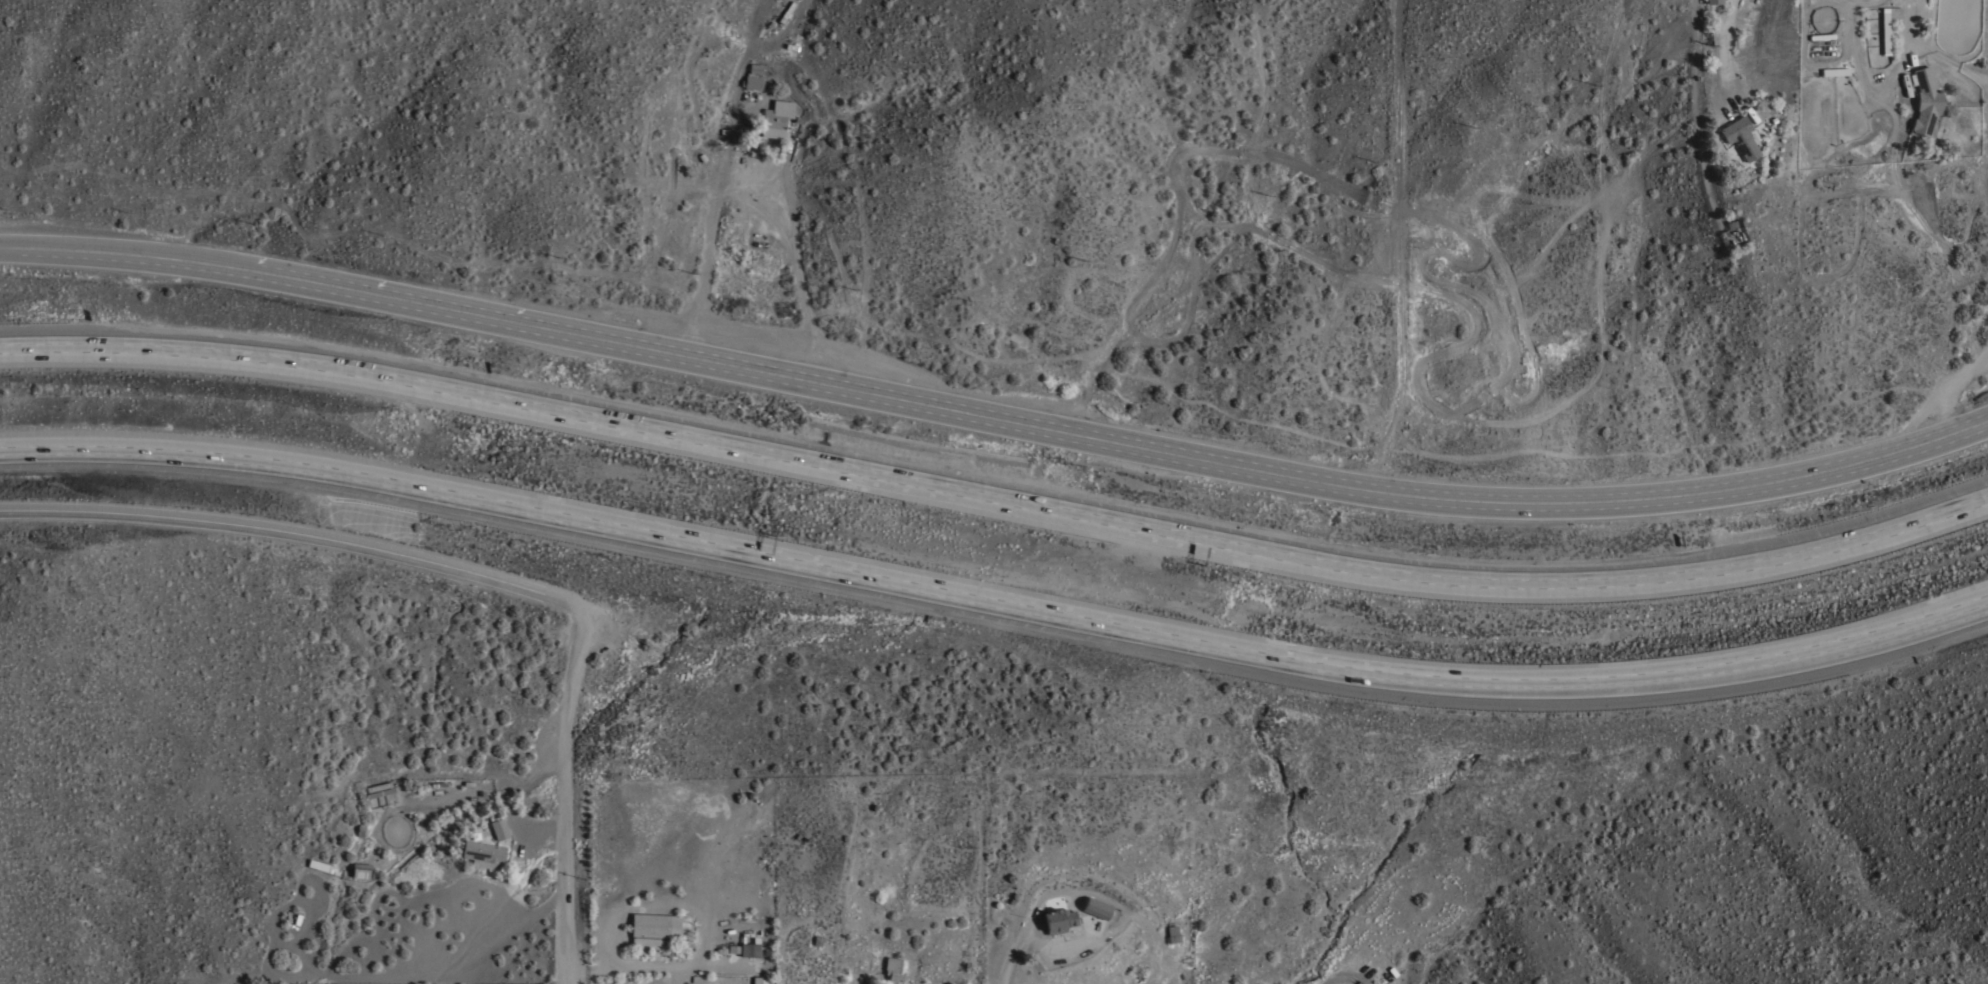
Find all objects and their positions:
building: (1711, 1)
building: (786, 12)
building: (1887, 27)
building: (1822, 42)
road: (1915, 43)
road: (1720, 50)
road: (1970, 69)
building: (753, 77)
building: (1925, 101)
building: (776, 119)
building: (1738, 137)
road: (706, 239)
road: (1399, 248)
road: (797, 265)
road: (1981, 366)
road: (1958, 394)
road: (994, 420)
road: (995, 494)
road: (294, 528)
road: (995, 588)
building: (380, 792)
road: (567, 792)
building: (398, 825)
building: (498, 826)
building: (483, 854)
building: (361, 870)
building: (1100, 909)
building: (1059, 920)
building: (654, 928)
building: (1172, 934)
road: (1363, 934)
building: (745, 949)
road: (1011, 952)
building: (895, 968)
building: (760, 980)
building: (1387, 983)
building: (1390, 983)

